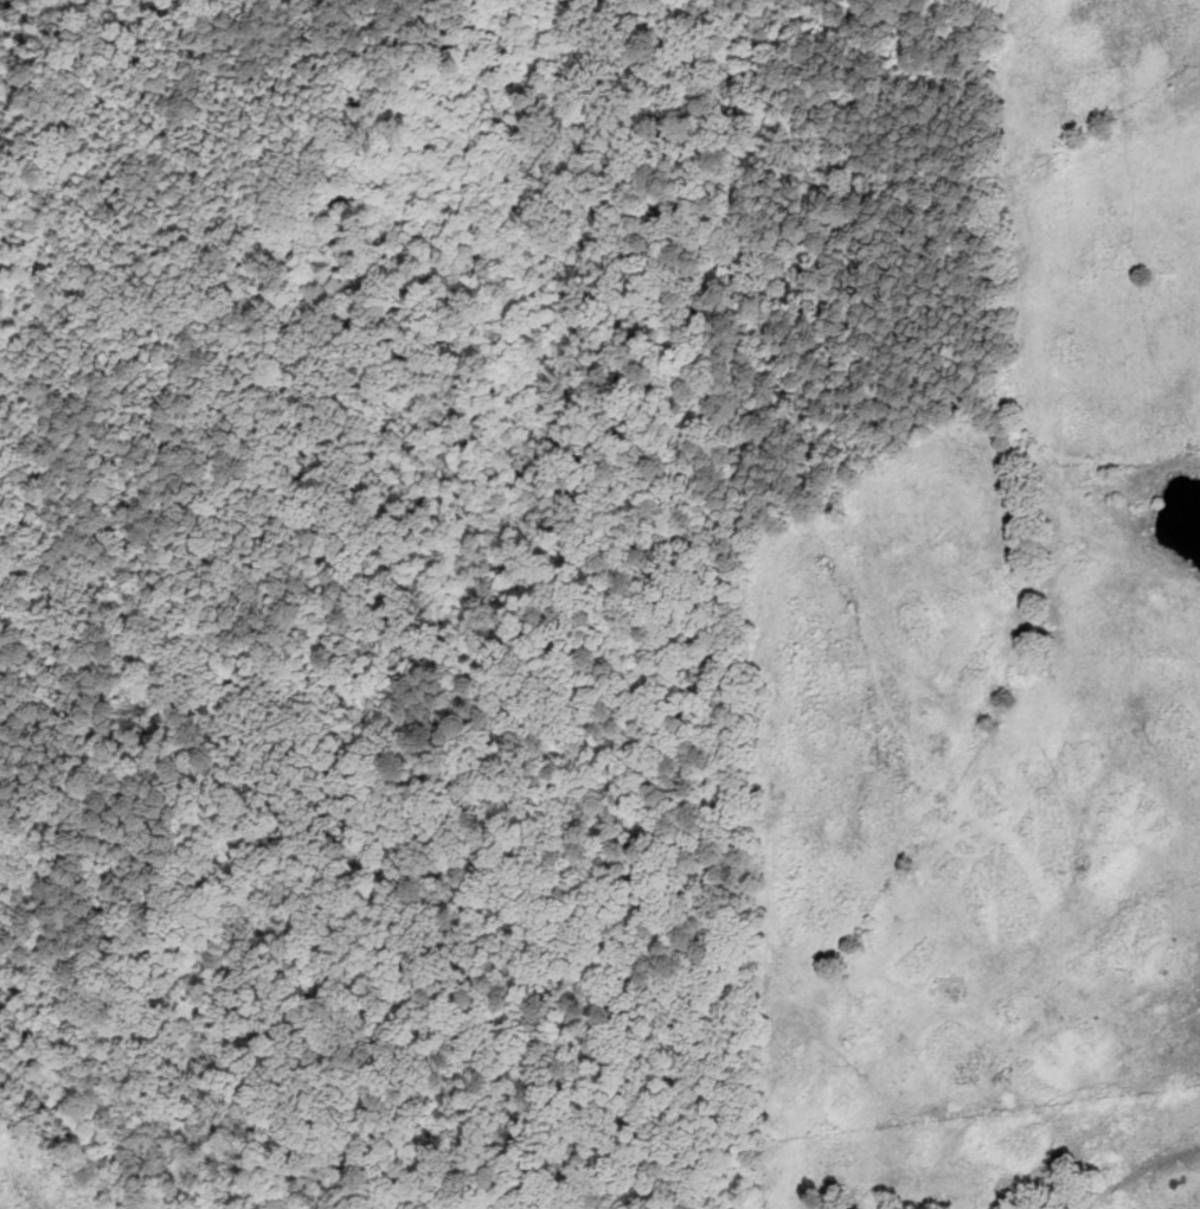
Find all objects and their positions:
road: (635, 539)

